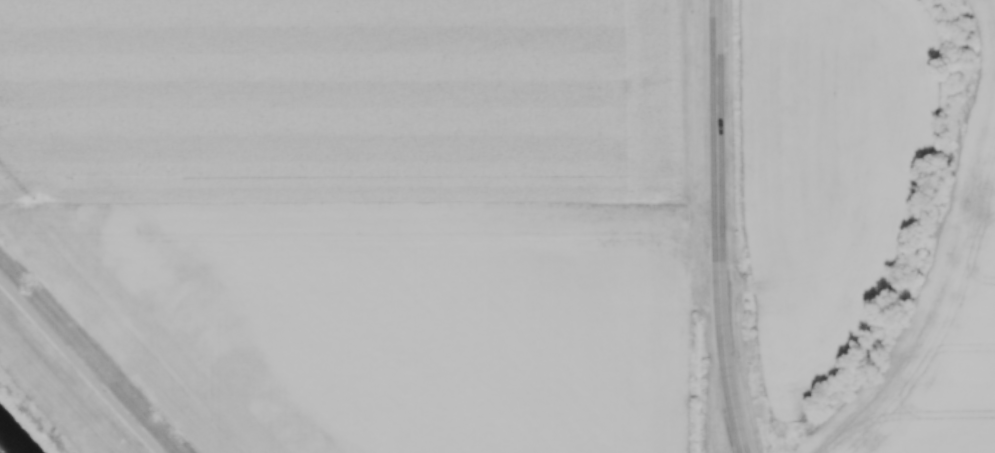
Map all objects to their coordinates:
crop: (337, 97)
road: (717, 227)
road: (81, 364)
river: (15, 435)

